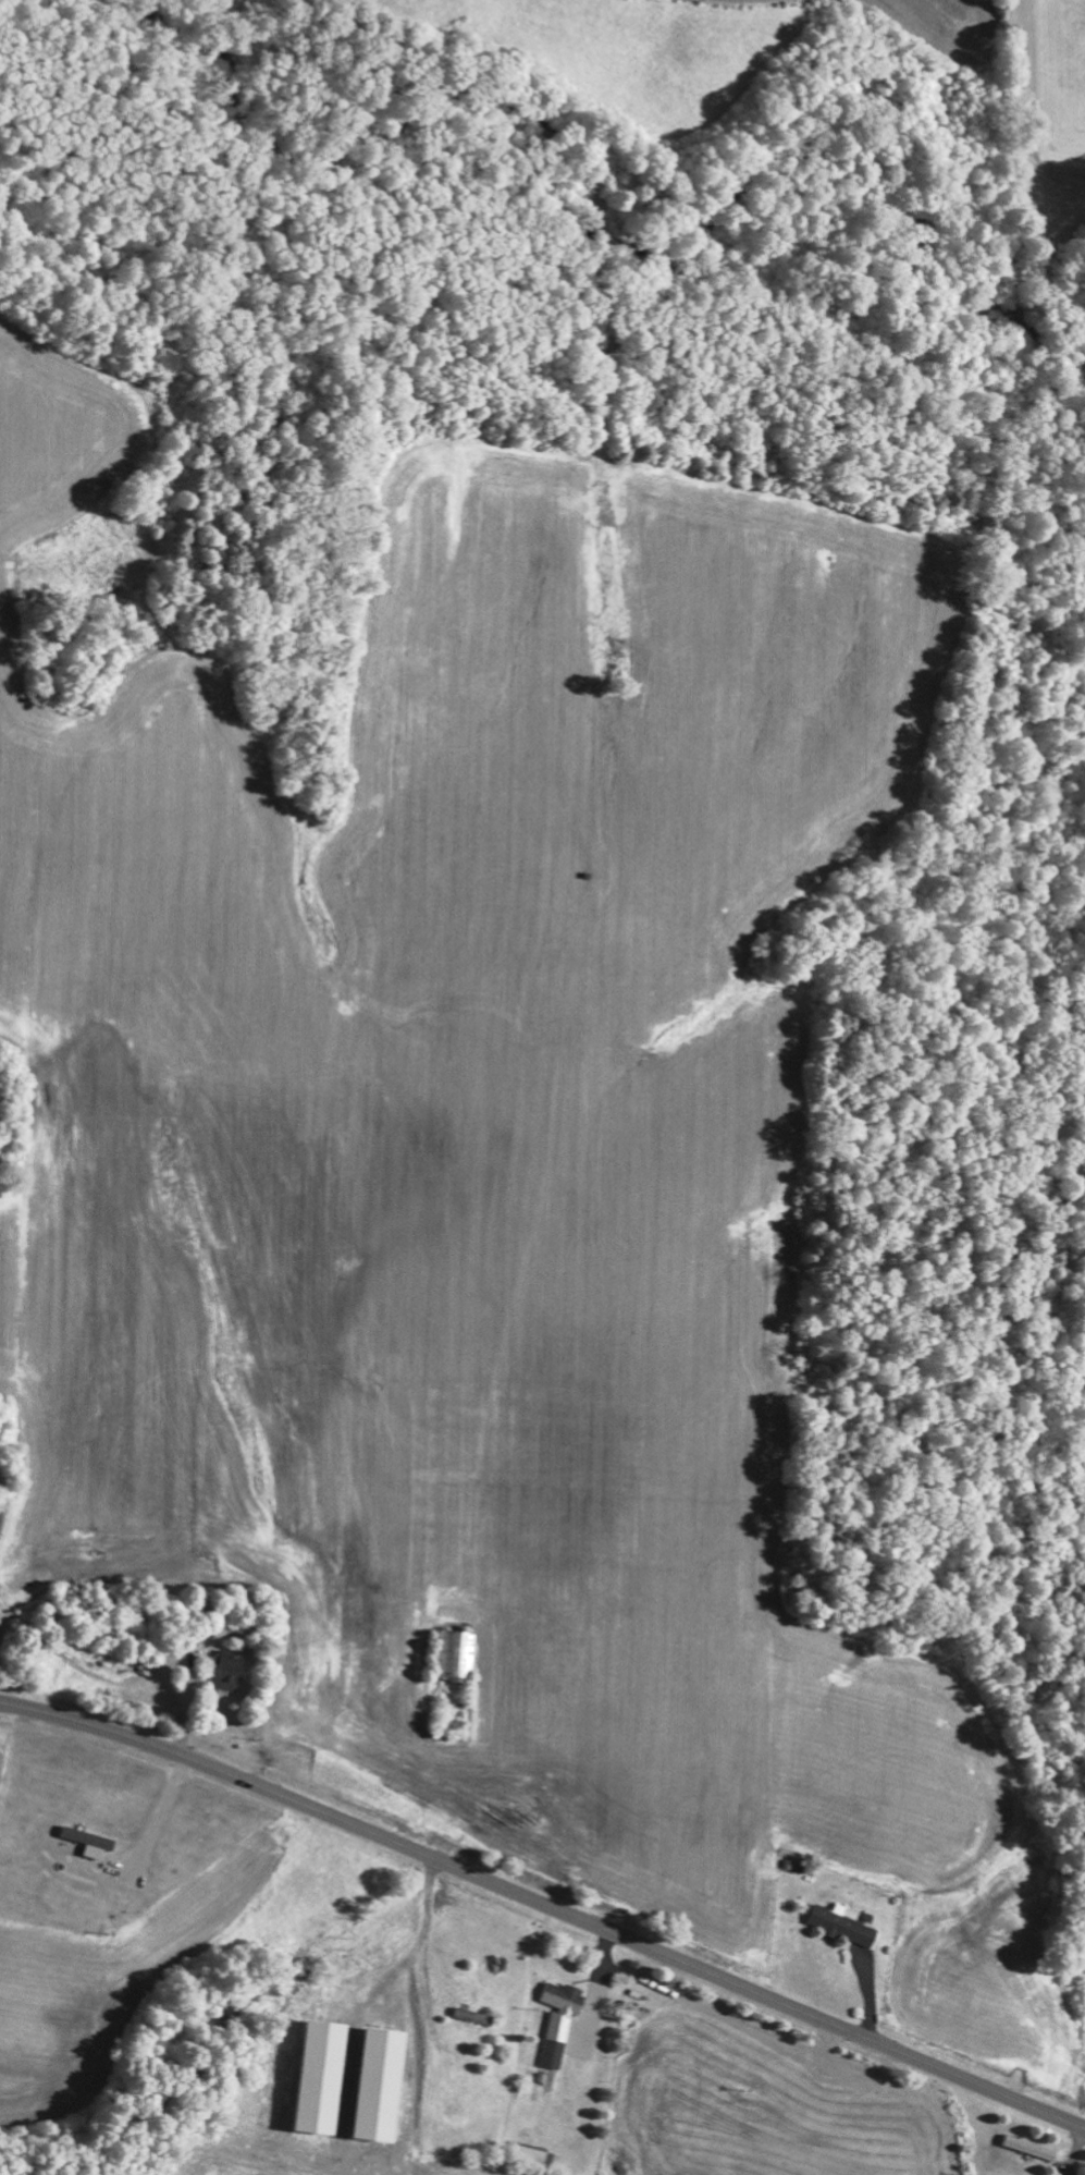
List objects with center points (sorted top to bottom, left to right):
building: (458, 1652)
building: (232, 1672)
building: (90, 1837)
road: (545, 1904)
building: (846, 1923)
building: (478, 2016)
building: (563, 2018)
road: (582, 2053)
building: (328, 2076)
building: (386, 2084)
road: (875, 2112)
building: (1032, 2147)
road: (1076, 2150)

